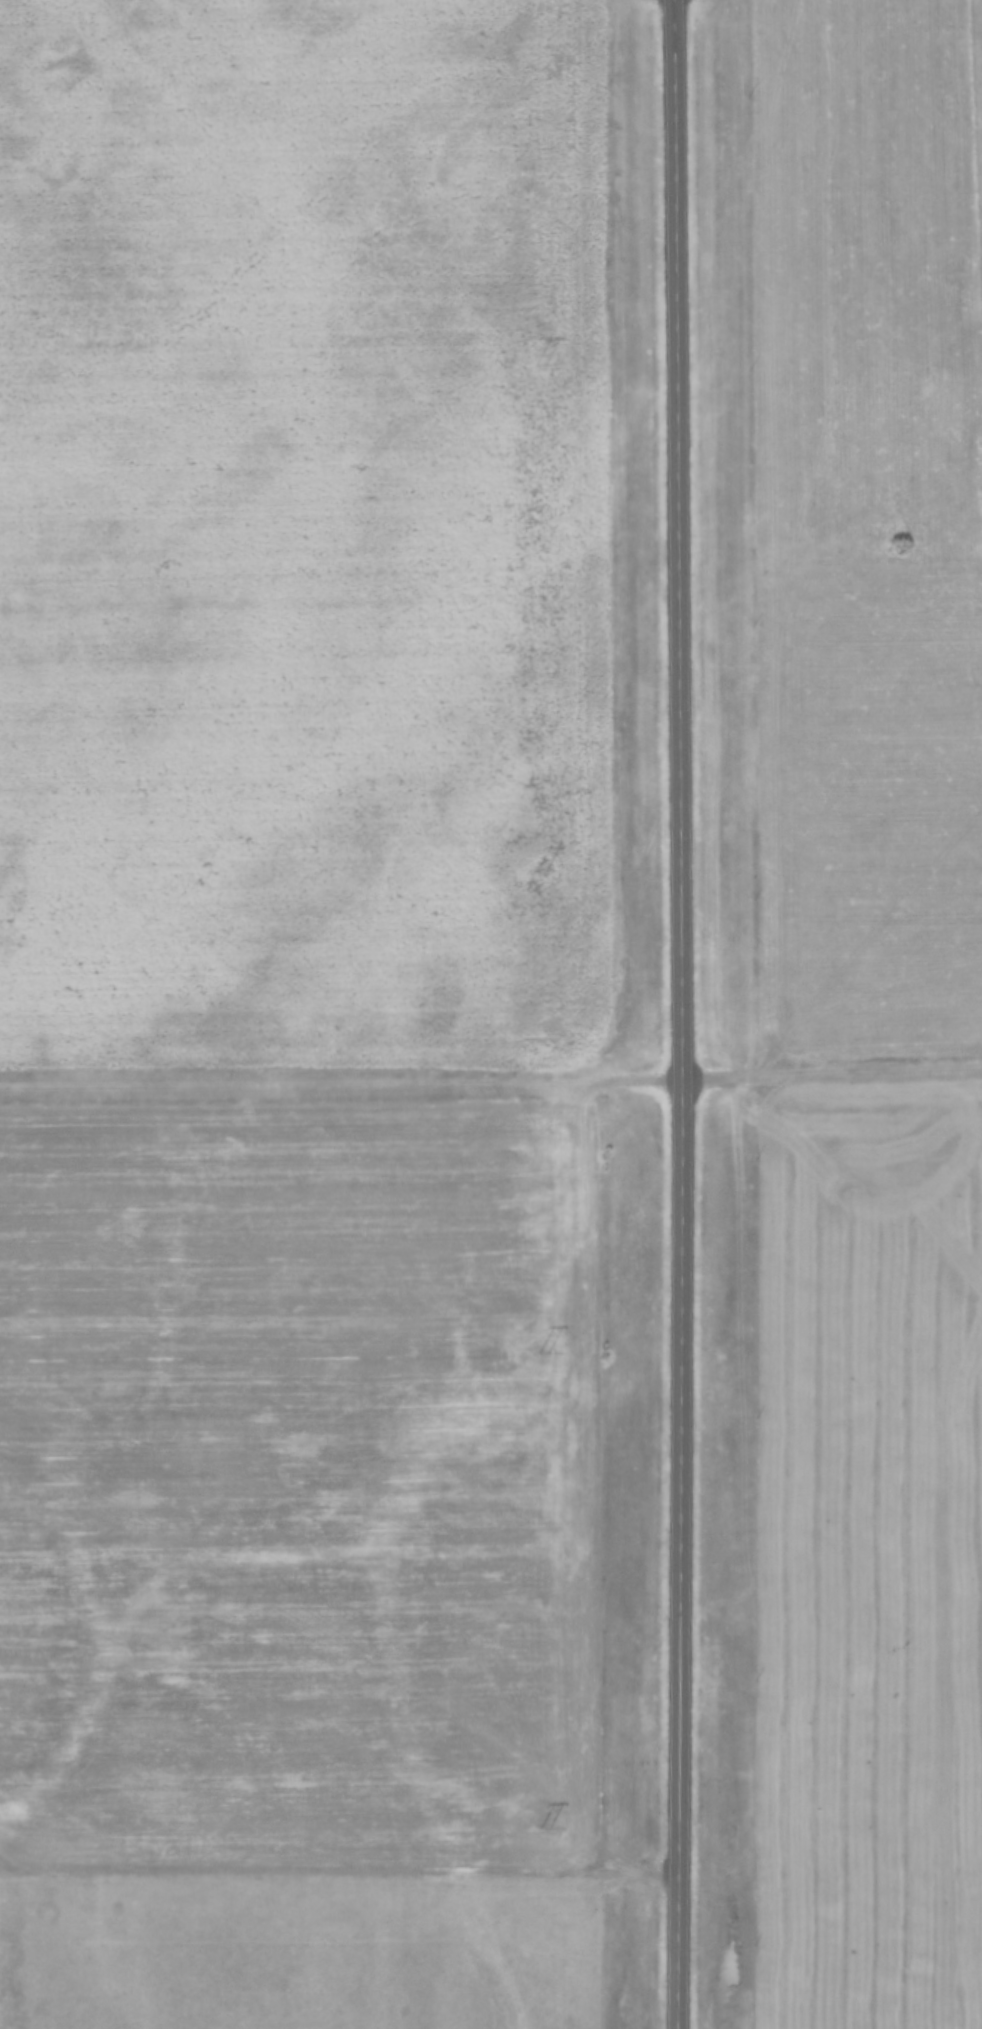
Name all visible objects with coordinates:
road: (683, 1014)
road: (490, 1083)

